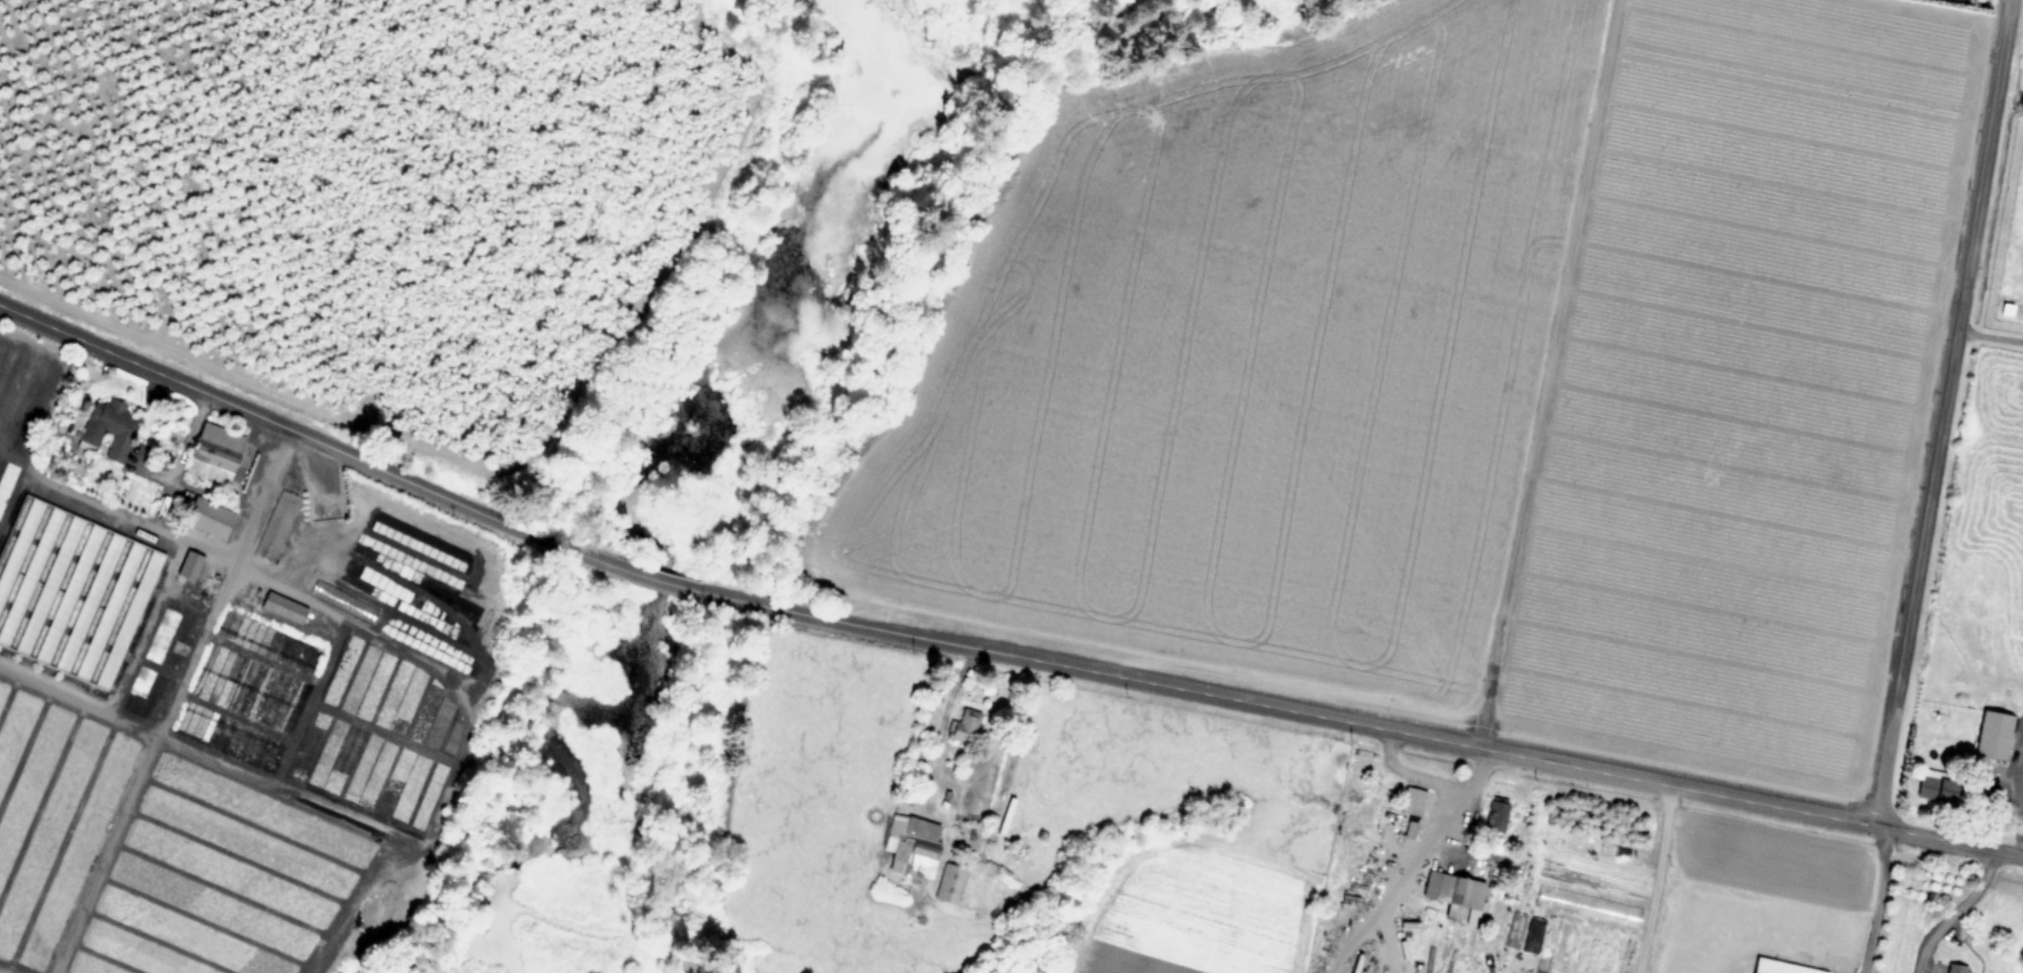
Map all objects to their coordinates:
road: (1989, 335)
road: (1544, 373)
crop: (1459, 377)
road: (1942, 412)
building: (113, 428)
road: (313, 438)
building: (214, 453)
road: (256, 494)
building: (208, 517)
building: (276, 525)
crop: (1987, 557)
building: (189, 565)
road: (684, 587)
building: (71, 591)
building: (283, 607)
road: (1066, 720)
road: (941, 722)
building: (965, 725)
road: (1383, 727)
building: (195, 728)
building: (1986, 744)
building: (2007, 753)
road: (1409, 773)
building: (1938, 785)
building: (1412, 800)
building: (1496, 814)
crop: (1262, 845)
building: (912, 846)
crop: (163, 854)
road: (1414, 865)
road: (1660, 879)
building: (950, 883)
building: (1454, 891)
road: (1873, 900)
road: (1948, 909)
road: (1386, 947)
building: (1783, 967)
building: (1956, 968)

